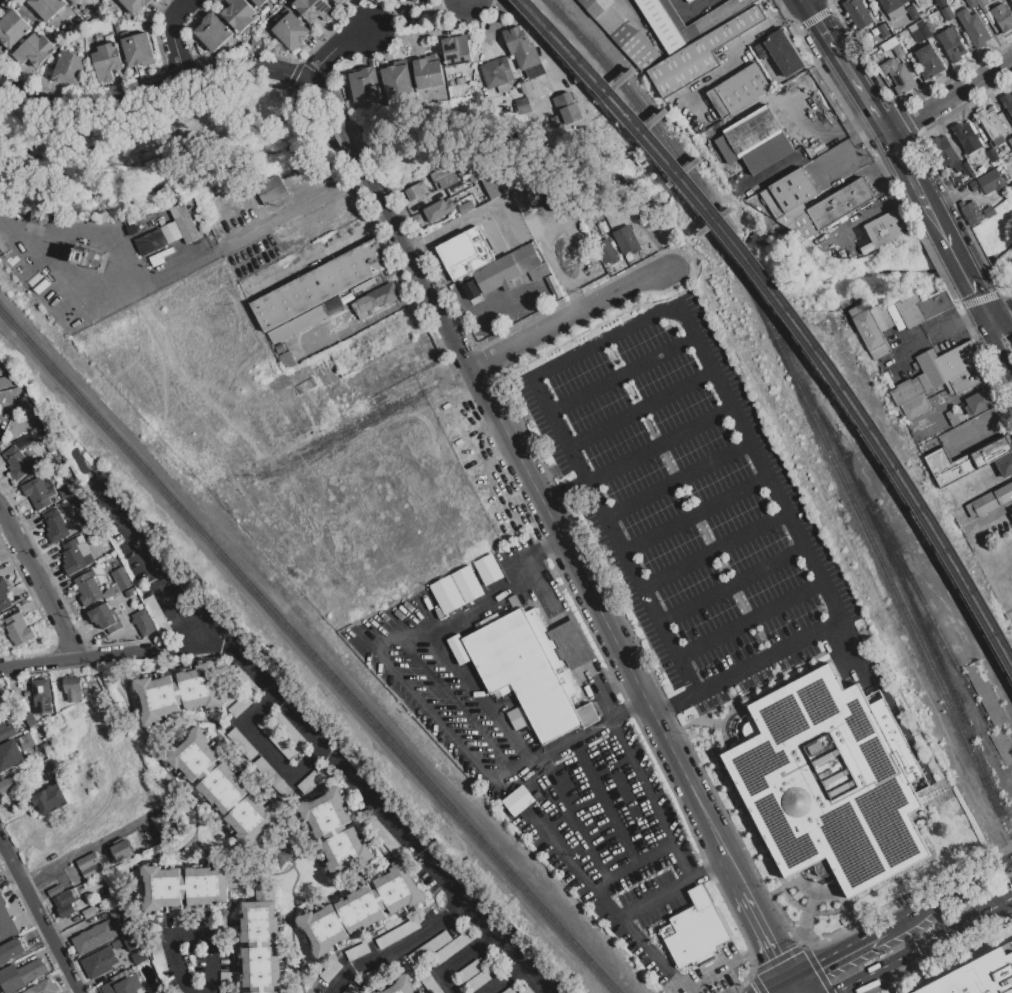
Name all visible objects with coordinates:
building: (71, 0)
building: (415, 0)
building: (688, 0)
building: (75, 1)
building: (337, 1)
building: (917, 1)
building: (996, 1)
building: (1011, 1)
building: (259, 2)
building: (983, 2)
building: (940, 3)
building: (971, 3)
building: (135, 4)
building: (889, 5)
building: (405, 6)
building: (47, 7)
building: (313, 9)
road: (687, 9)
building: (87, 12)
building: (857, 13)
building: (127, 14)
building: (239, 14)
building: (947, 14)
building: (276, 15)
road: (418, 15)
building: (909, 17)
building: (1000, 18)
building: (78, 19)
building: (117, 21)
building: (12, 28)
building: (973, 28)
building: (290, 30)
building: (883, 30)
building: (212, 31)
building: (621, 32)
building: (920, 33)
road: (173, 37)
railway: (583, 40)
building: (677, 40)
building: (255, 41)
building: (888, 43)
building: (951, 43)
building: (520, 47)
building: (34, 49)
building: (137, 49)
building: (456, 49)
road: (335, 50)
building: (898, 50)
building: (783, 51)
building: (701, 52)
road: (732, 53)
building: (107, 60)
building: (928, 61)
road: (844, 67)
building: (69, 68)
building: (428, 71)
building: (497, 74)
building: (898, 75)
building: (397, 80)
building: (460, 80)
road: (172, 84)
building: (364, 84)
building: (526, 87)
building: (738, 90)
building: (784, 91)
building: (771, 97)
road: (949, 97)
building: (521, 101)
building: (563, 101)
building: (1007, 102)
building: (990, 122)
road: (806, 131)
road: (346, 136)
building: (966, 137)
building: (1011, 139)
building: (754, 140)
building: (998, 140)
road: (811, 146)
building: (944, 151)
building: (991, 155)
building: (967, 168)
building: (982, 169)
road: (868, 172)
railway: (682, 176)
building: (444, 177)
building: (489, 180)
road: (913, 181)
building: (988, 182)
building: (271, 189)
building: (793, 189)
building: (416, 190)
building: (483, 196)
building: (3, 203)
building: (840, 203)
road: (888, 203)
building: (466, 207)
road: (297, 208)
building: (16, 210)
building: (438, 210)
building: (777, 211)
building: (976, 212)
building: (792, 213)
building: (415, 217)
building: (99, 220)
building: (164, 220)
building: (799, 221)
building: (184, 222)
building: (586, 223)
building: (132, 228)
building: (885, 229)
building: (808, 230)
building: (171, 232)
road: (525, 235)
building: (625, 239)
building: (150, 242)
road: (326, 248)
building: (608, 249)
building: (88, 257)
road: (958, 259)
building: (511, 269)
building: (550, 280)
building: (319, 284)
building: (470, 290)
traffic signals: (975, 290)
road: (105, 293)
building: (375, 299)
road: (979, 299)
building: (923, 306)
road: (999, 309)
railway: (792, 310)
road: (986, 311)
building: (107, 312)
building: (894, 316)
road: (570, 318)
railway: (786, 318)
building: (305, 320)
building: (885, 322)
building: (385, 323)
building: (407, 327)
road: (1000, 327)
building: (868, 330)
road: (942, 330)
traffic signals: (1006, 333)
road: (605, 342)
road: (995, 355)
building: (287, 360)
road: (621, 375)
building: (939, 376)
building: (5, 381)
road: (962, 395)
building: (979, 401)
road: (638, 408)
road: (980, 424)
building: (42, 432)
building: (23, 441)
building: (50, 443)
road: (658, 444)
building: (970, 461)
building: (17, 462)
road: (676, 480)
building: (69, 490)
building: (37, 492)
road: (562, 495)
building: (992, 499)
parking lot: (687, 506)
road: (544, 507)
building: (84, 509)
building: (1010, 511)
road: (694, 514)
building: (55, 526)
road: (546, 547)
road: (713, 549)
building: (76, 555)
railway: (878, 557)
road: (146, 559)
building: (485, 565)
railway: (896, 573)
building: (117, 582)
building: (467, 584)
road: (732, 585)
road: (38, 587)
building: (88, 588)
railway: (918, 593)
building: (3, 595)
building: (513, 601)
railway: (949, 609)
building: (158, 617)
building: (104, 618)
road: (750, 619)
building: (144, 621)
building: (17, 627)
building: (457, 649)
railway: (309, 651)
road: (102, 657)
road: (770, 658)
building: (534, 669)
building: (245, 680)
building: (72, 688)
building: (99, 688)
building: (177, 691)
building: (26, 692)
road: (419, 695)
road: (477, 695)
building: (41, 696)
building: (1, 699)
building: (239, 705)
road: (674, 706)
road: (627, 709)
building: (30, 719)
building: (6, 731)
building: (290, 732)
building: (276, 738)
building: (29, 739)
building: (22, 743)
building: (242, 743)
road: (265, 750)
building: (9, 754)
building: (78, 769)
building: (272, 777)
building: (309, 782)
building: (6, 784)
building: (827, 784)
building: (222, 786)
building: (48, 798)
building: (517, 800)
road: (611, 802)
road: (376, 808)
building: (165, 822)
road: (579, 830)
building: (335, 831)
building: (382, 834)
road: (82, 852)
building: (120, 852)
road: (657, 859)
road: (683, 865)
building: (88, 866)
road: (710, 870)
building: (187, 885)
building: (54, 889)
road: (947, 891)
road: (653, 901)
building: (64, 902)
building: (359, 908)
building: (89, 911)
building: (117, 911)
road: (39, 916)
road: (759, 917)
building: (184, 920)
building: (6, 925)
road: (952, 927)
building: (222, 932)
building: (397, 932)
building: (695, 932)
road: (627, 934)
building: (94, 936)
road: (189, 938)
building: (131, 940)
building: (261, 941)
building: (454, 946)
road: (395, 947)
building: (429, 947)
building: (10, 950)
road: (835, 950)
building: (357, 951)
traffic signals: (778, 952)
building: (157, 954)
building: (123, 955)
building: (138, 956)
road: (455, 960)
traffic signals: (816, 960)
building: (99, 961)
road: (727, 963)
building: (330, 969)
building: (470, 971)
building: (376, 974)
building: (21, 975)
building: (978, 975)
road: (862, 976)
road: (503, 979)
building: (477, 981)
building: (225, 982)
road: (771, 983)
road: (794, 983)
building: (431, 984)
building: (122, 985)
building: (402, 986)
building: (42, 987)
building: (349, 989)
building: (527, 989)
building: (176, 990)
building: (508, 990)

